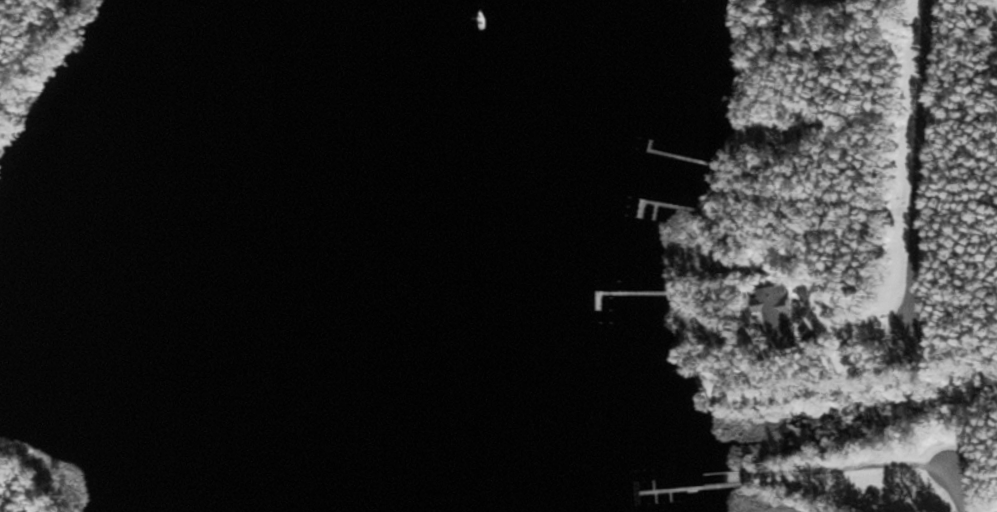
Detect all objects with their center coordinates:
building: (839, 1)
road: (924, 161)
building: (783, 316)
road: (965, 499)

